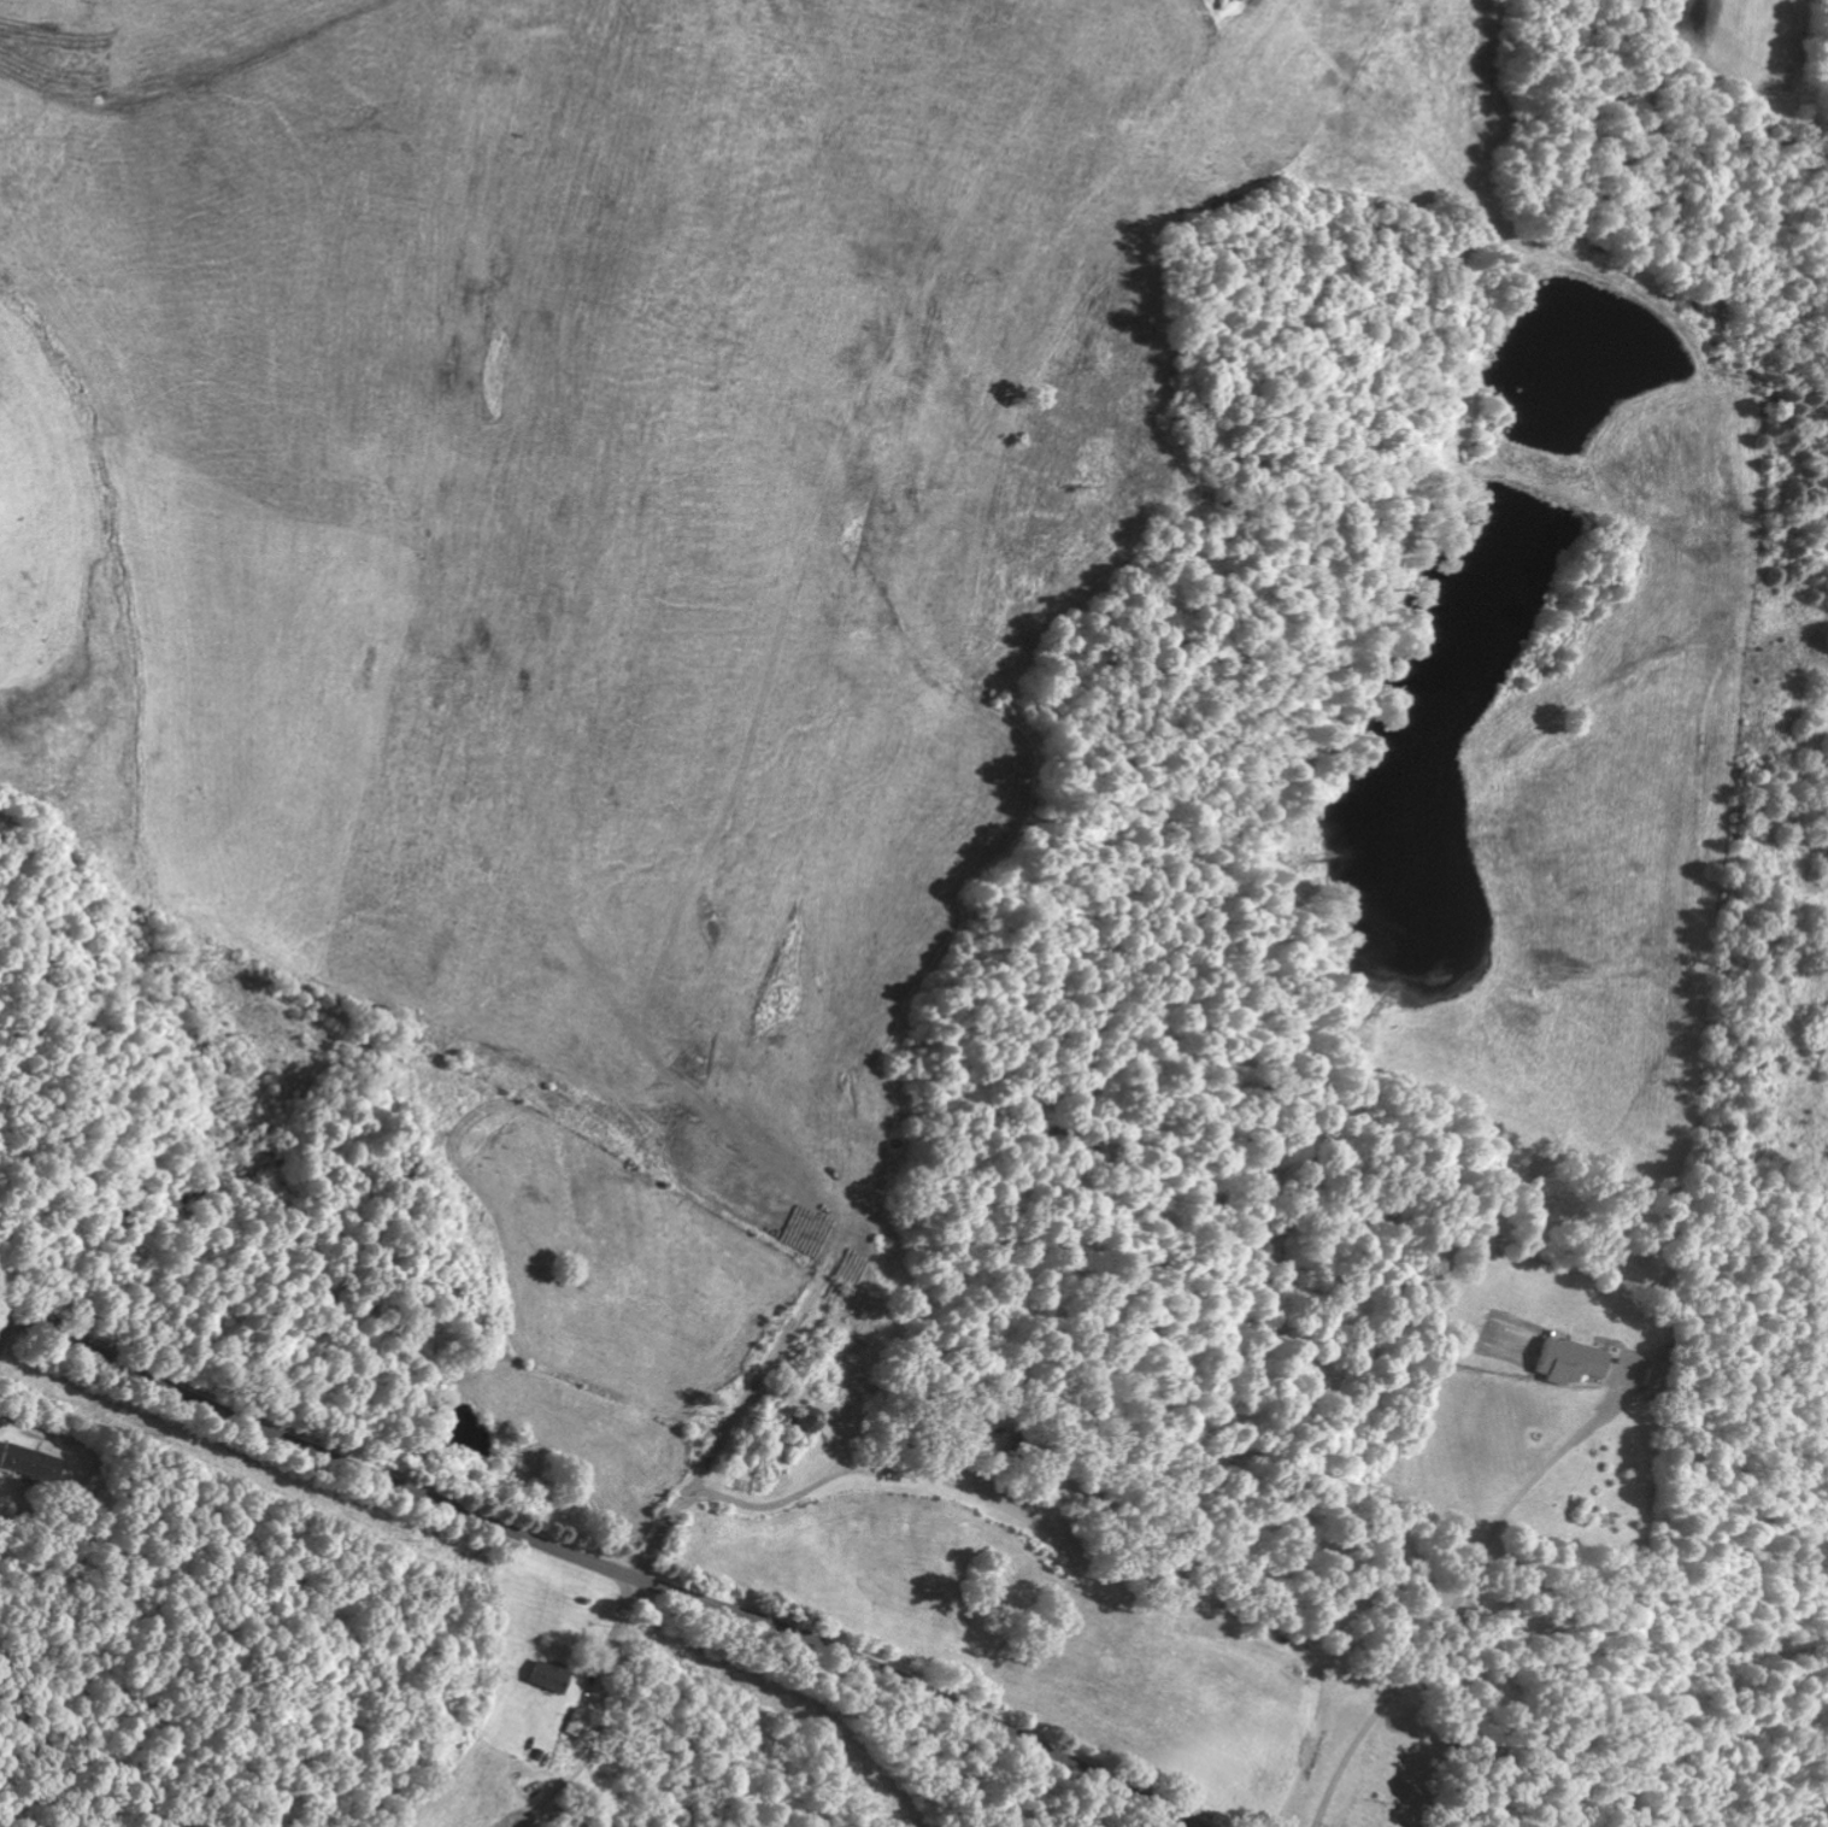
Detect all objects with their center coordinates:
building: (1569, 1361)
building: (30, 1462)
road: (604, 1564)
building: (547, 1676)
building: (576, 1722)

